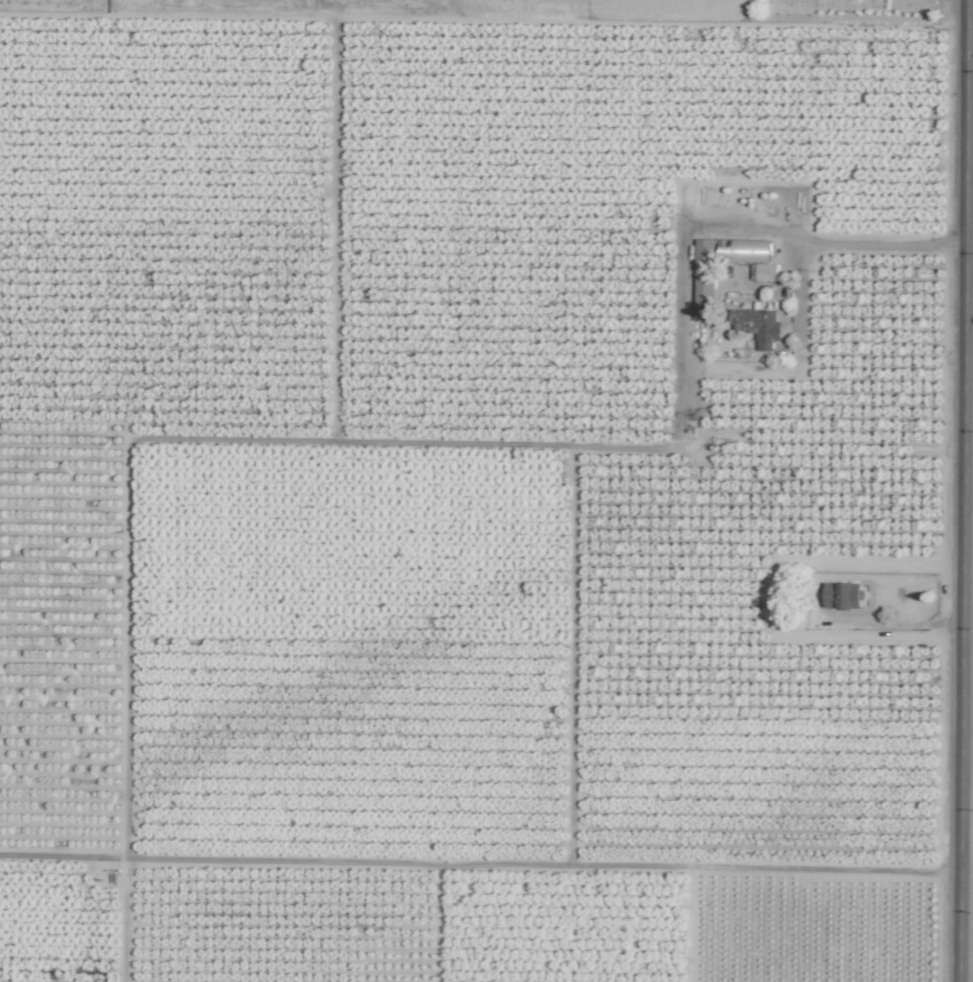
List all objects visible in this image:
road: (845, 246)
building: (764, 271)
building: (757, 325)
road: (963, 490)
building: (842, 595)
road: (480, 865)

